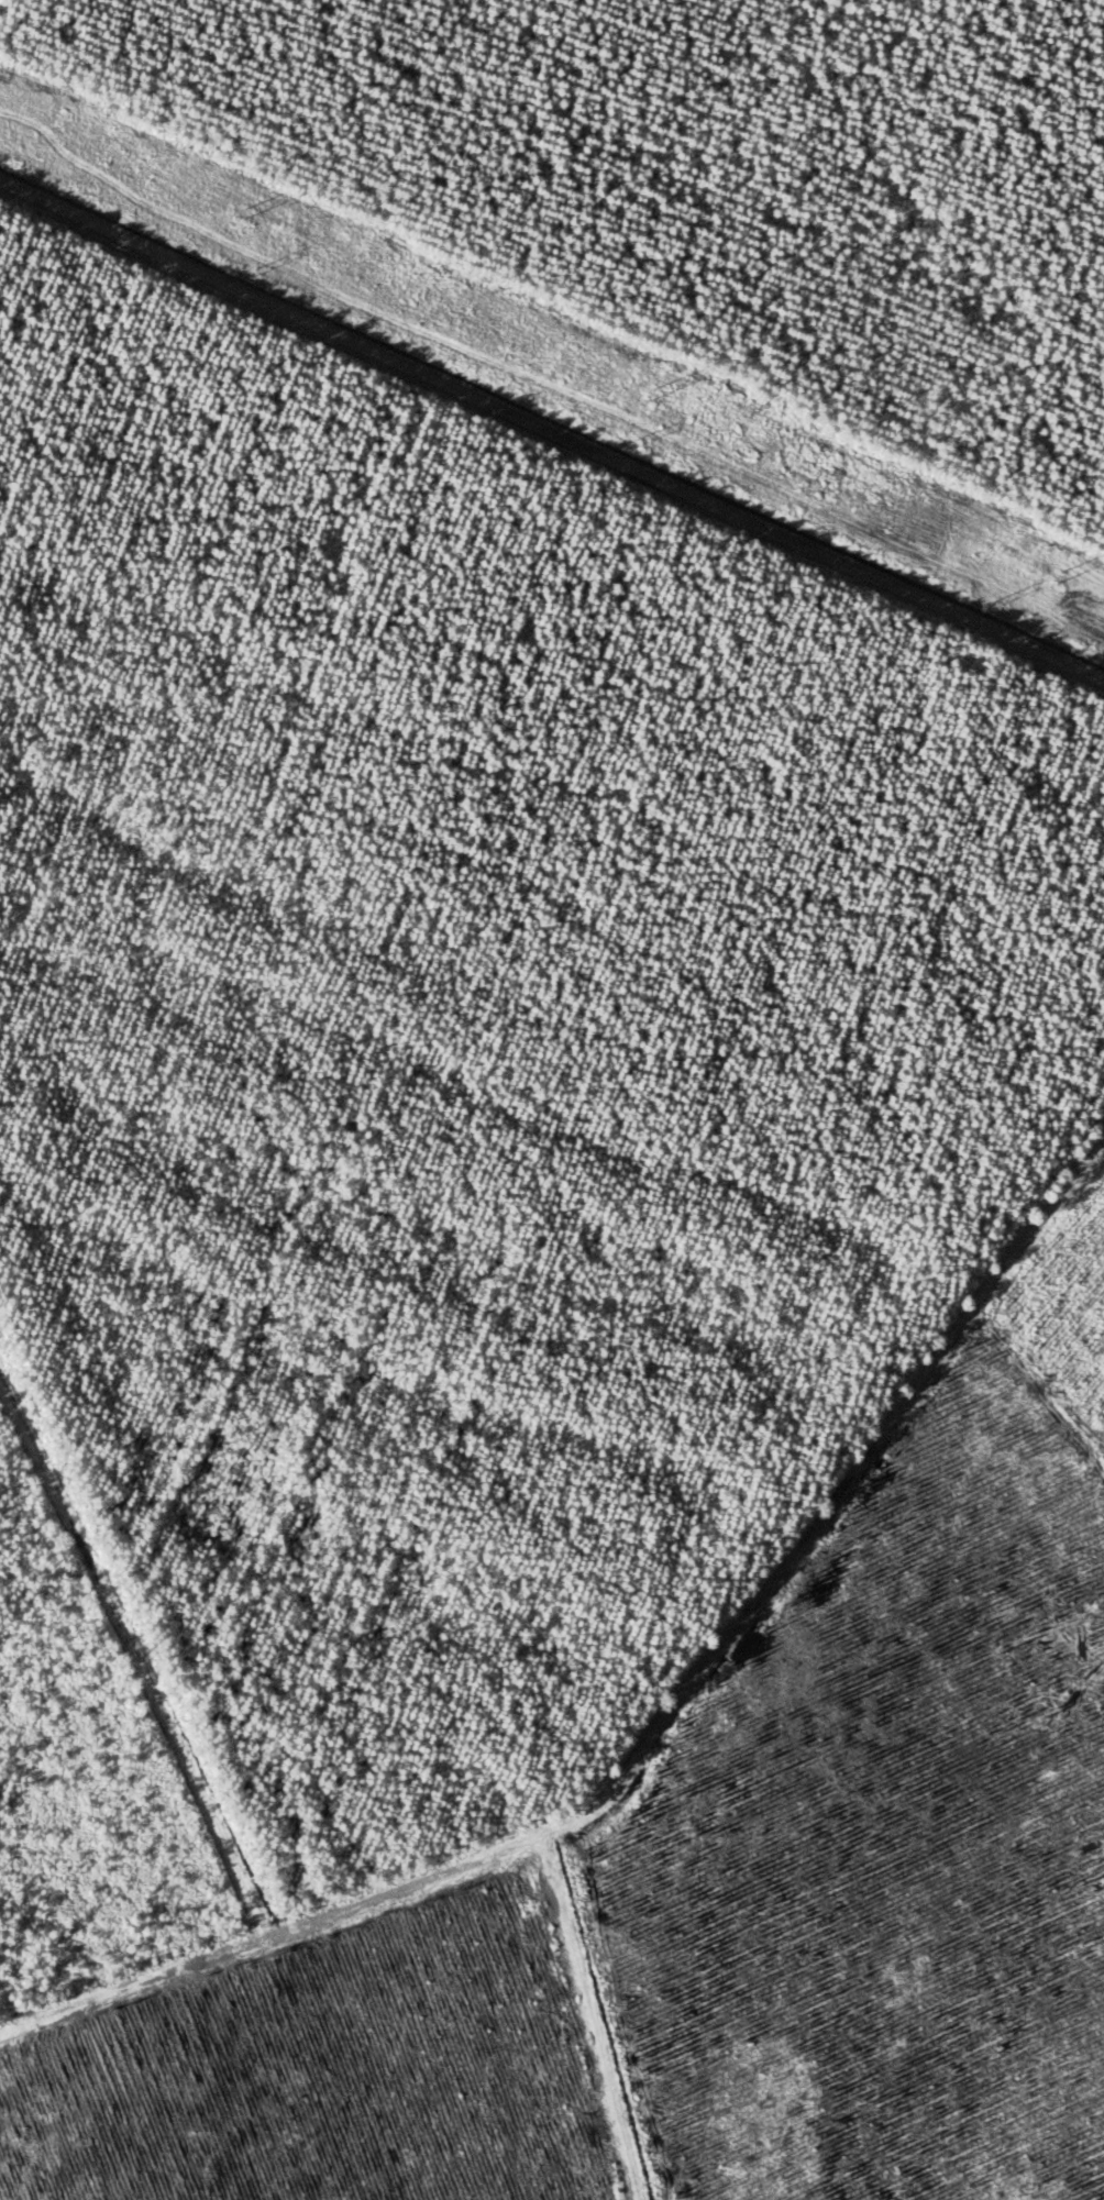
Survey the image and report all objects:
power tower: (240, 213)
power tower: (251, 275)
power tower: (647, 393)
power tower: (632, 445)
power tower: (1055, 576)
power tower: (992, 607)

